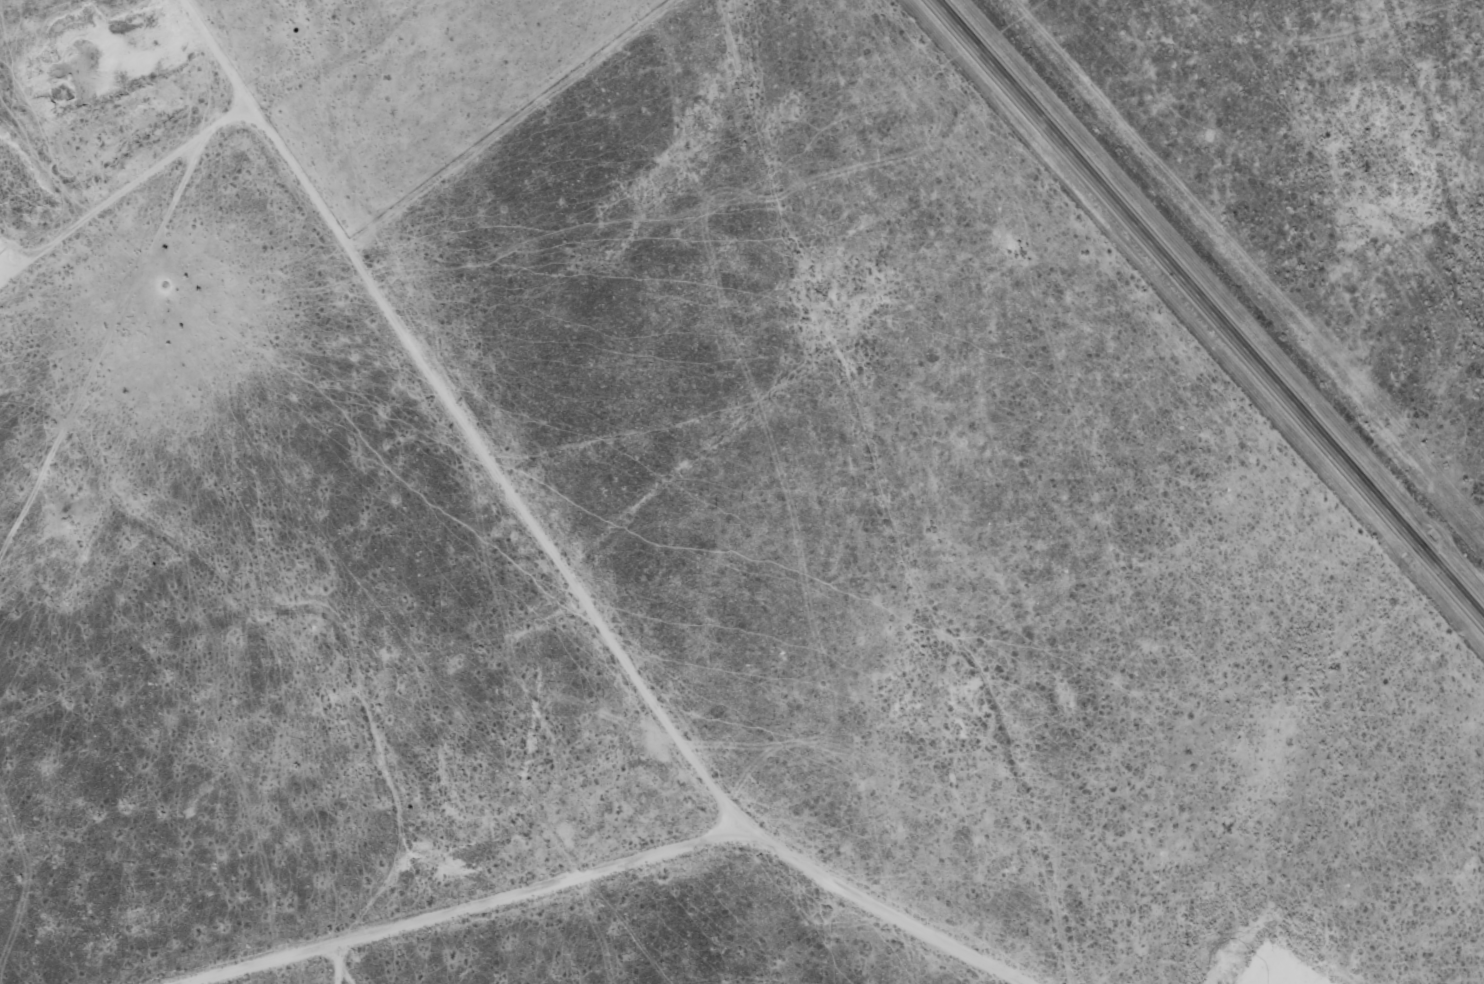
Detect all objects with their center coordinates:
road: (1208, 309)
road: (578, 838)

